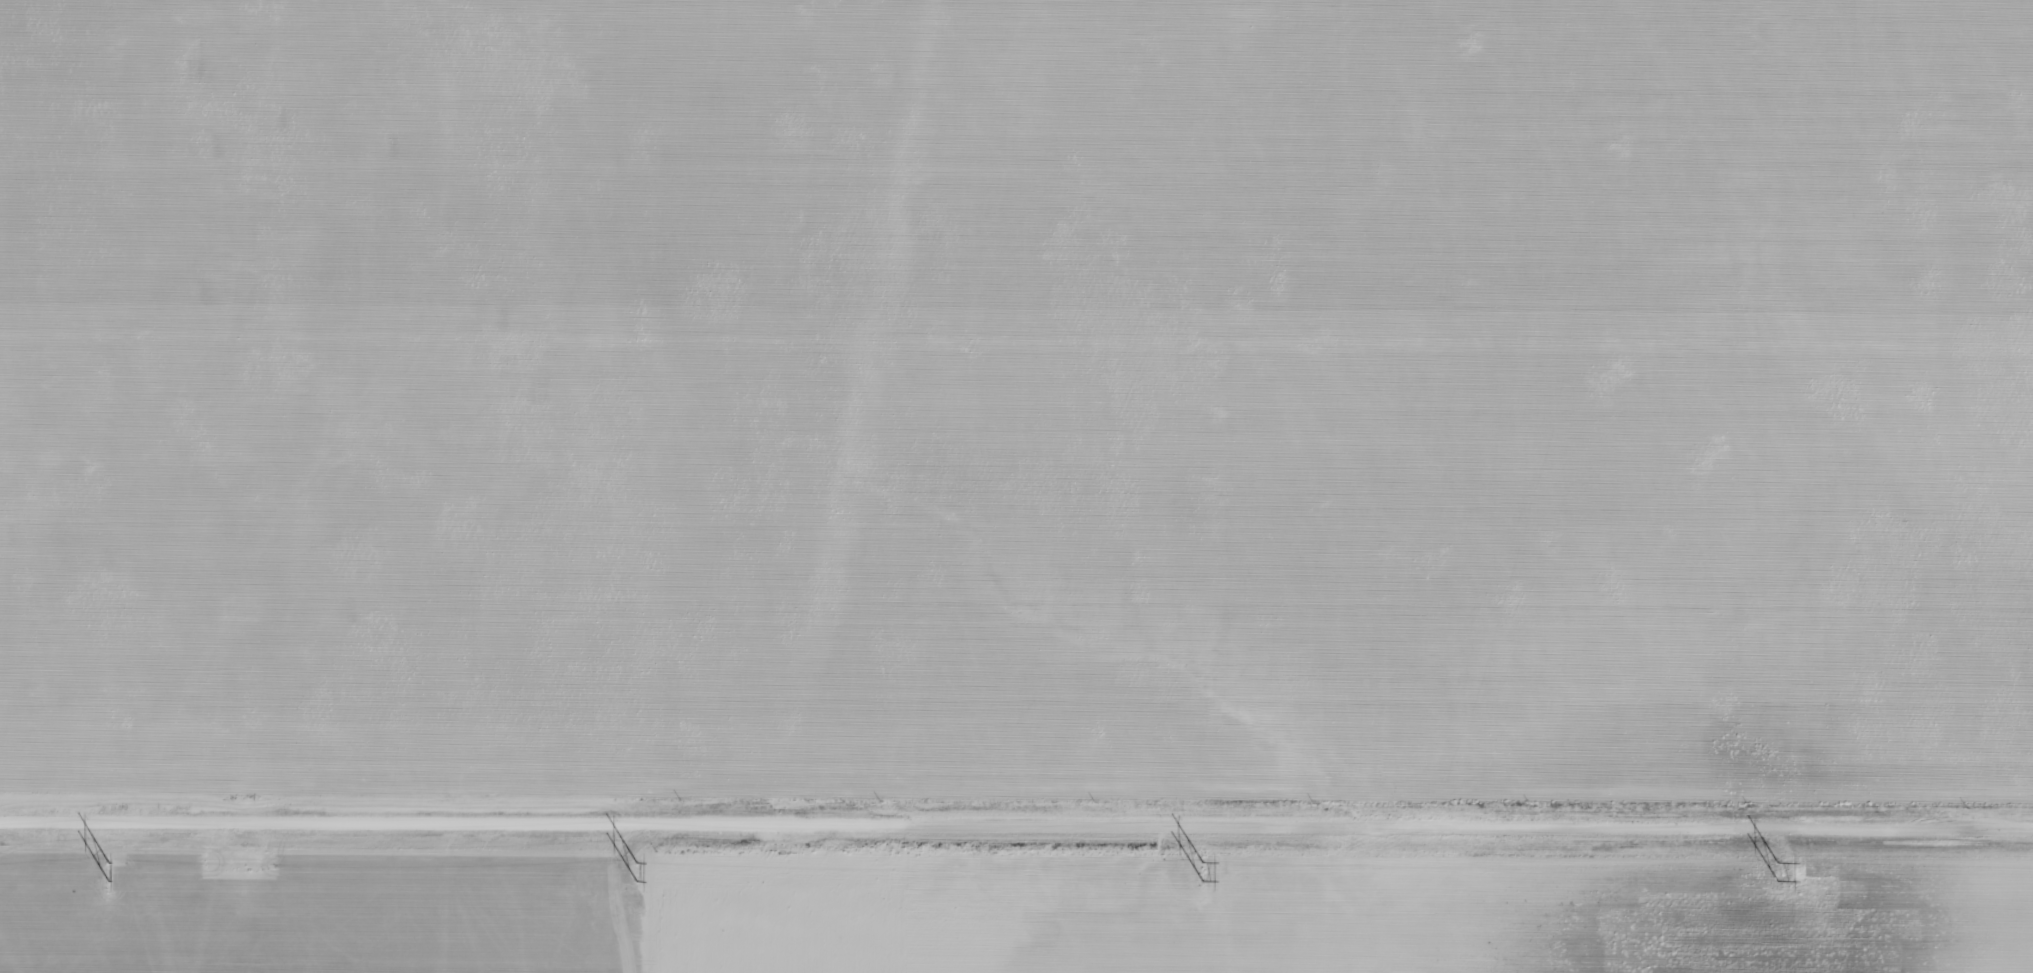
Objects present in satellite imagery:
road: (1016, 813)
power tower: (103, 858)
power tower: (628, 860)
power tower: (1194, 861)
power tower: (1769, 862)

